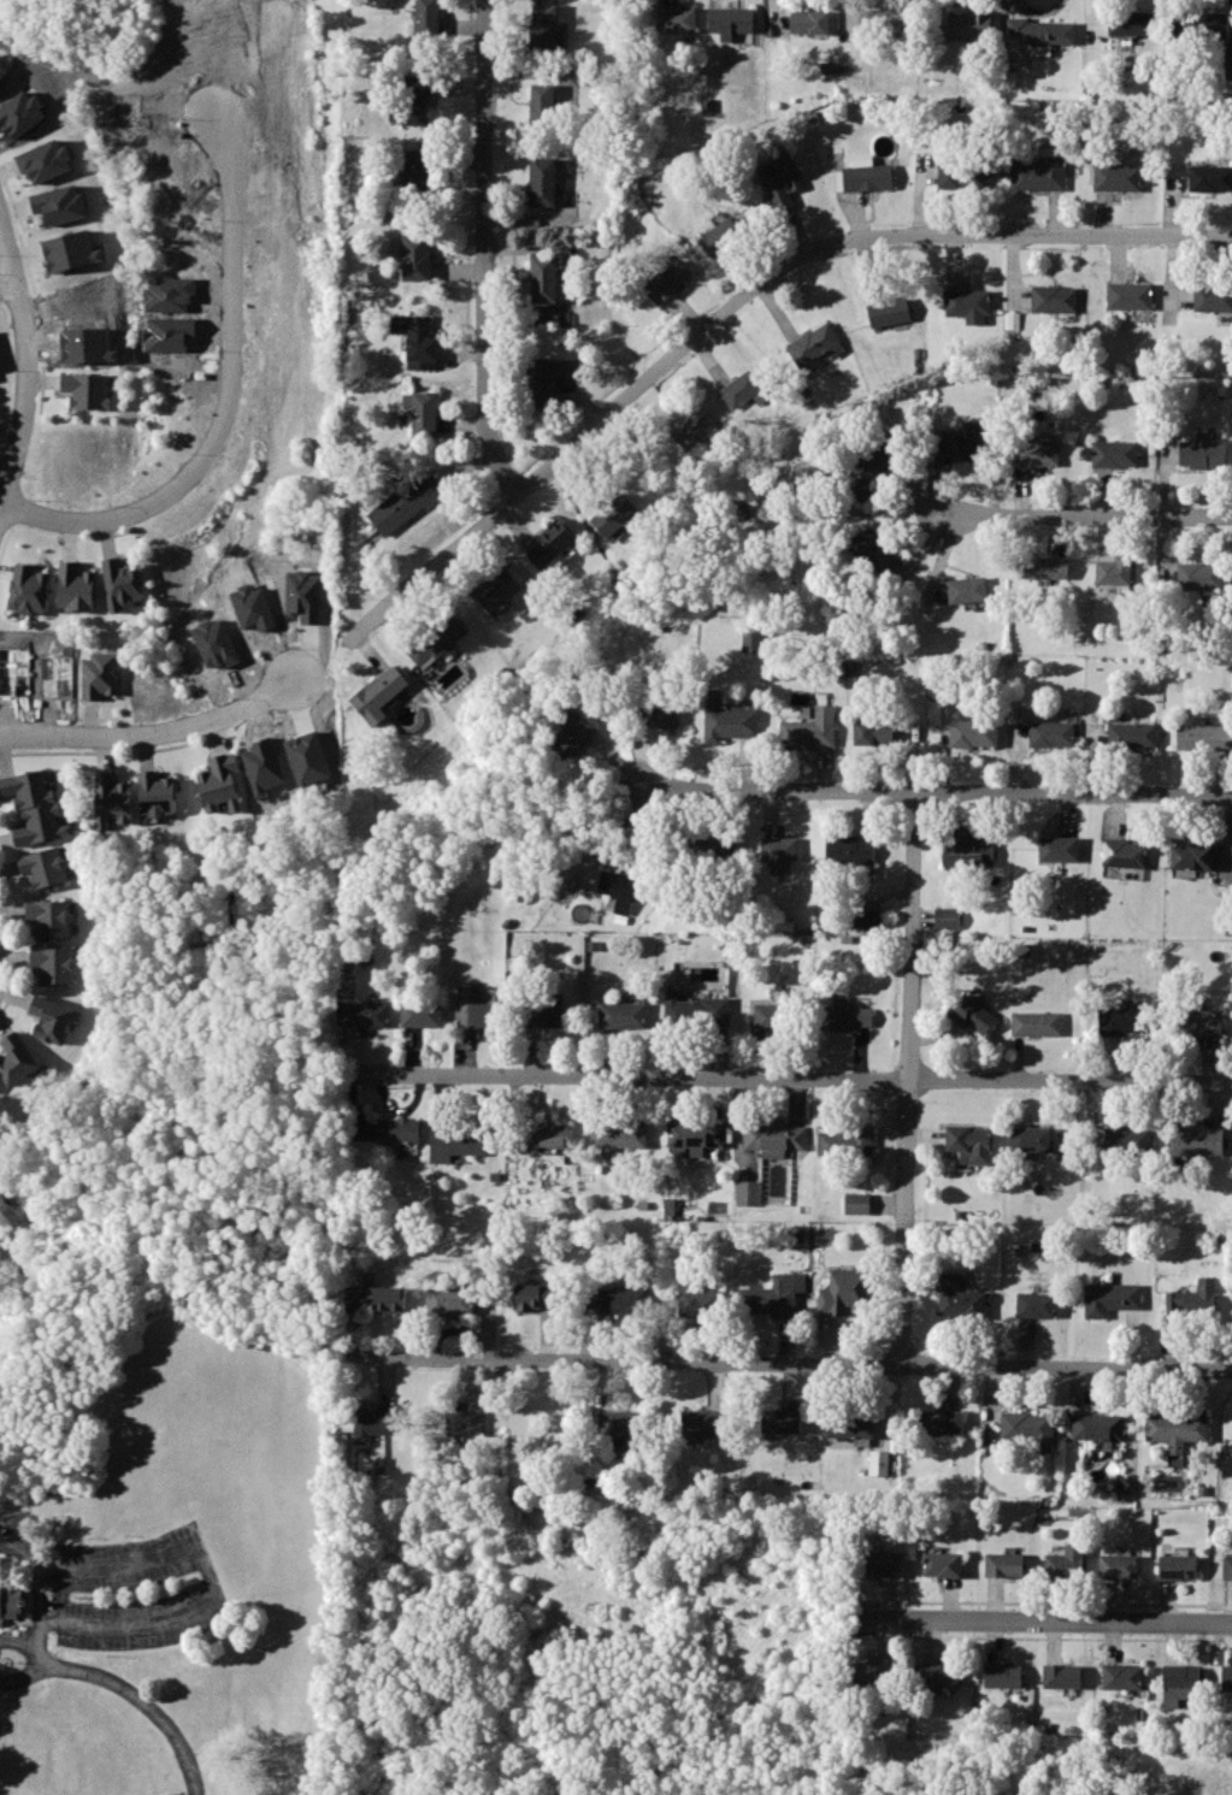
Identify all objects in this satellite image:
building: (426, 19)
building: (676, 19)
building: (729, 20)
building: (809, 22)
building: (877, 22)
building: (1130, 23)
building: (1196, 25)
building: (969, 26)
building: (546, 28)
building: (1038, 31)
building: (1227, 58)
building: (413, 98)
building: (542, 104)
building: (43, 161)
building: (417, 172)
building: (1038, 172)
building: (962, 175)
building: (1115, 176)
building: (1210, 177)
building: (867, 178)
building: (780, 179)
building: (543, 181)
building: (58, 203)
building: (725, 241)
building: (70, 250)
road: (483, 252)
building: (417, 256)
road: (6, 276)
building: (543, 278)
building: (667, 283)
building: (1130, 296)
building: (1054, 299)
building: (1213, 299)
building: (967, 303)
road: (742, 305)
building: (889, 311)
building: (414, 338)
building: (814, 344)
road: (31, 377)
building: (541, 380)
building: (741, 388)
building: (87, 389)
road: (224, 403)
building: (422, 412)
building: (694, 429)
building: (960, 442)
building: (1199, 450)
building: (1034, 453)
building: (1114, 454)
building: (867, 466)
building: (403, 503)
road: (1089, 508)
building: (617, 514)
building: (550, 544)
building: (874, 548)
building: (1043, 567)
building: (1110, 571)
building: (1201, 575)
building: (122, 584)
building: (76, 586)
building: (967, 589)
building: (28, 590)
building: (497, 590)
building: (432, 640)
building: (750, 640)
building: (98, 674)
building: (379, 693)
building: (658, 715)
building: (730, 722)
building: (809, 728)
building: (873, 732)
road: (153, 733)
building: (576, 733)
building: (1050, 733)
building: (973, 734)
building: (1131, 736)
building: (1202, 738)
building: (220, 780)
road: (937, 792)
building: (155, 795)
building: (111, 798)
building: (33, 808)
building: (779, 849)
building: (844, 849)
building: (1059, 849)
building: (711, 850)
building: (1124, 852)
building: (968, 854)
building: (1192, 856)
building: (45, 867)
building: (619, 890)
building: (51, 917)
building: (868, 926)
building: (947, 926)
building: (54, 964)
building: (705, 1011)
building: (476, 1012)
building: (543, 1014)
building: (366, 1015)
building: (422, 1015)
building: (621, 1015)
building: (844, 1015)
building: (973, 1016)
building: (770, 1017)
building: (52, 1018)
building: (1119, 1022)
building: (1198, 1022)
building: (1036, 1025)
building: (18, 1061)
road: (790, 1077)
road: (910, 1080)
building: (399, 1130)
building: (550, 1134)
building: (619, 1134)
building: (695, 1136)
building: (774, 1136)
building: (966, 1138)
building: (1028, 1139)
building: (1124, 1139)
building: (1195, 1139)
building: (452, 1142)
building: (848, 1142)
building: (748, 1192)
building: (855, 1203)
building: (841, 1292)
building: (773, 1293)
building: (376, 1297)
building: (538, 1298)
building: (956, 1298)
building: (1109, 1298)
building: (1195, 1299)
building: (449, 1300)
building: (631, 1301)
building: (700, 1301)
building: (1034, 1305)
road: (790, 1366)
building: (465, 1421)
building: (780, 1421)
building: (703, 1422)
building: (848, 1422)
building: (939, 1422)
building: (373, 1423)
building: (1097, 1424)
building: (1027, 1427)
building: (618, 1428)
building: (1177, 1428)
building: (878, 1463)
building: (1071, 1560)
building: (943, 1564)
building: (1004, 1564)
building: (879, 1565)
building: (1118, 1565)
building: (1177, 1566)
building: (1228, 1567)
road: (207, 1576)
road: (39, 1588)
parking lot: (137, 1596)
road: (1043, 1601)
building: (10, 1605)
road: (1049, 1622)
road: (1039, 1636)
road: (23, 1645)
building: (876, 1675)
building: (1003, 1675)
road: (25, 1676)
building: (941, 1676)
building: (1062, 1676)
building: (1122, 1676)
building: (1183, 1676)
building: (1227, 1677)
road: (143, 1701)

